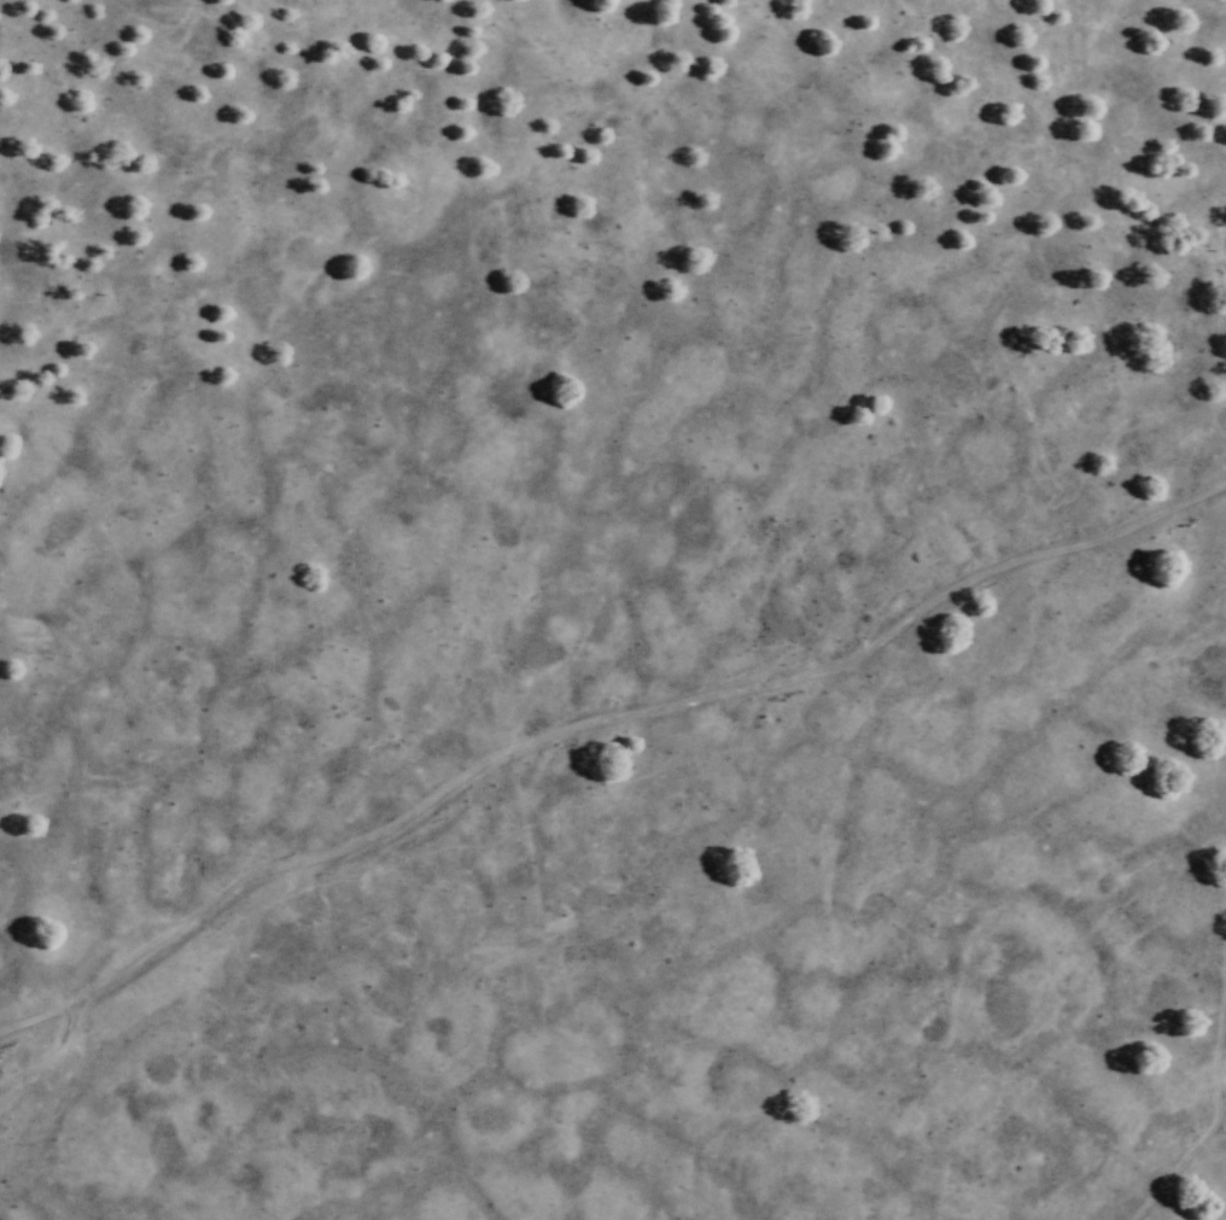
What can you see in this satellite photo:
road: (596, 718)
road: (1212, 1099)

